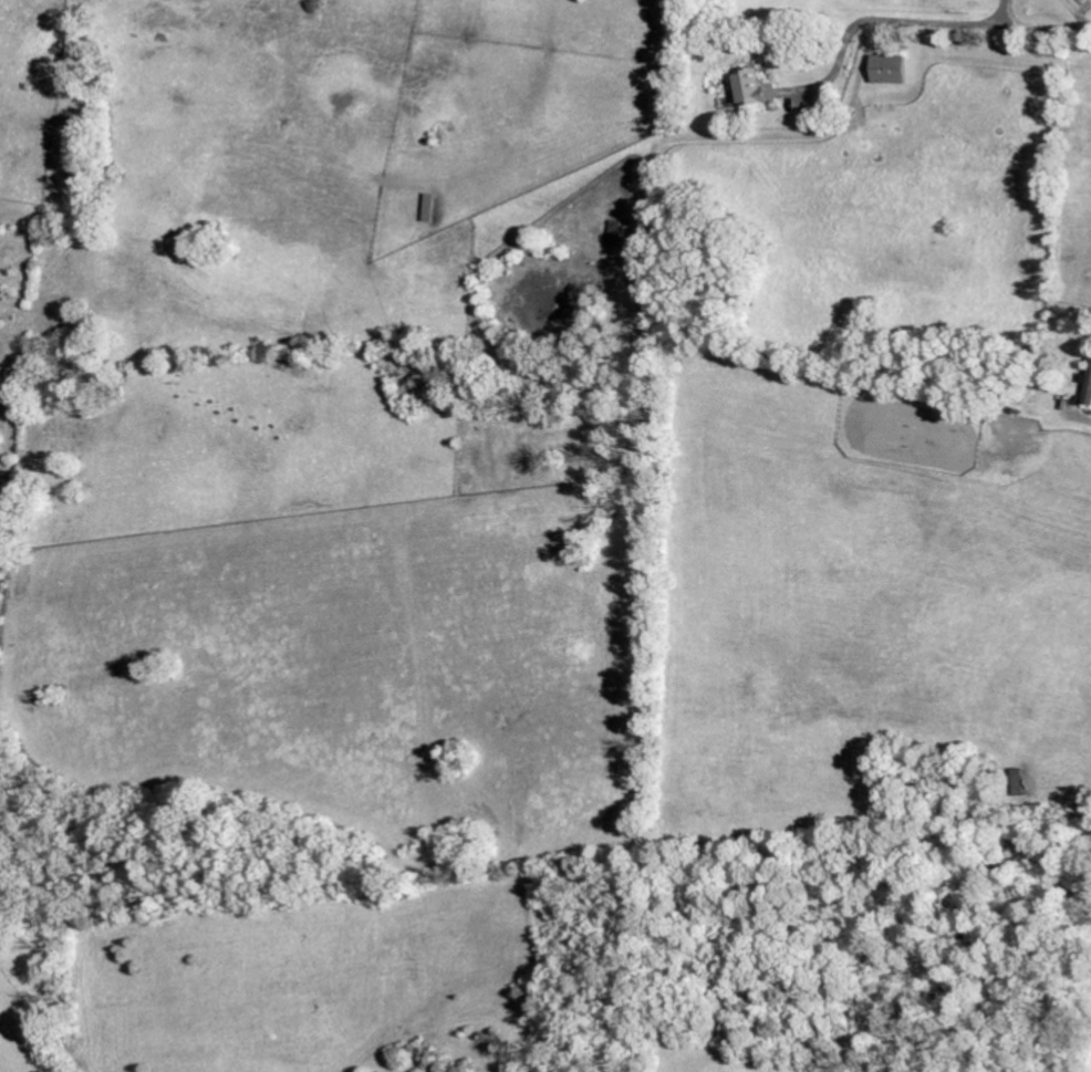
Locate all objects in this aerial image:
road: (923, 20)
building: (892, 69)
building: (752, 87)
building: (732, 100)
building: (432, 207)
building: (1089, 391)
road: (1088, 418)
building: (1020, 782)

